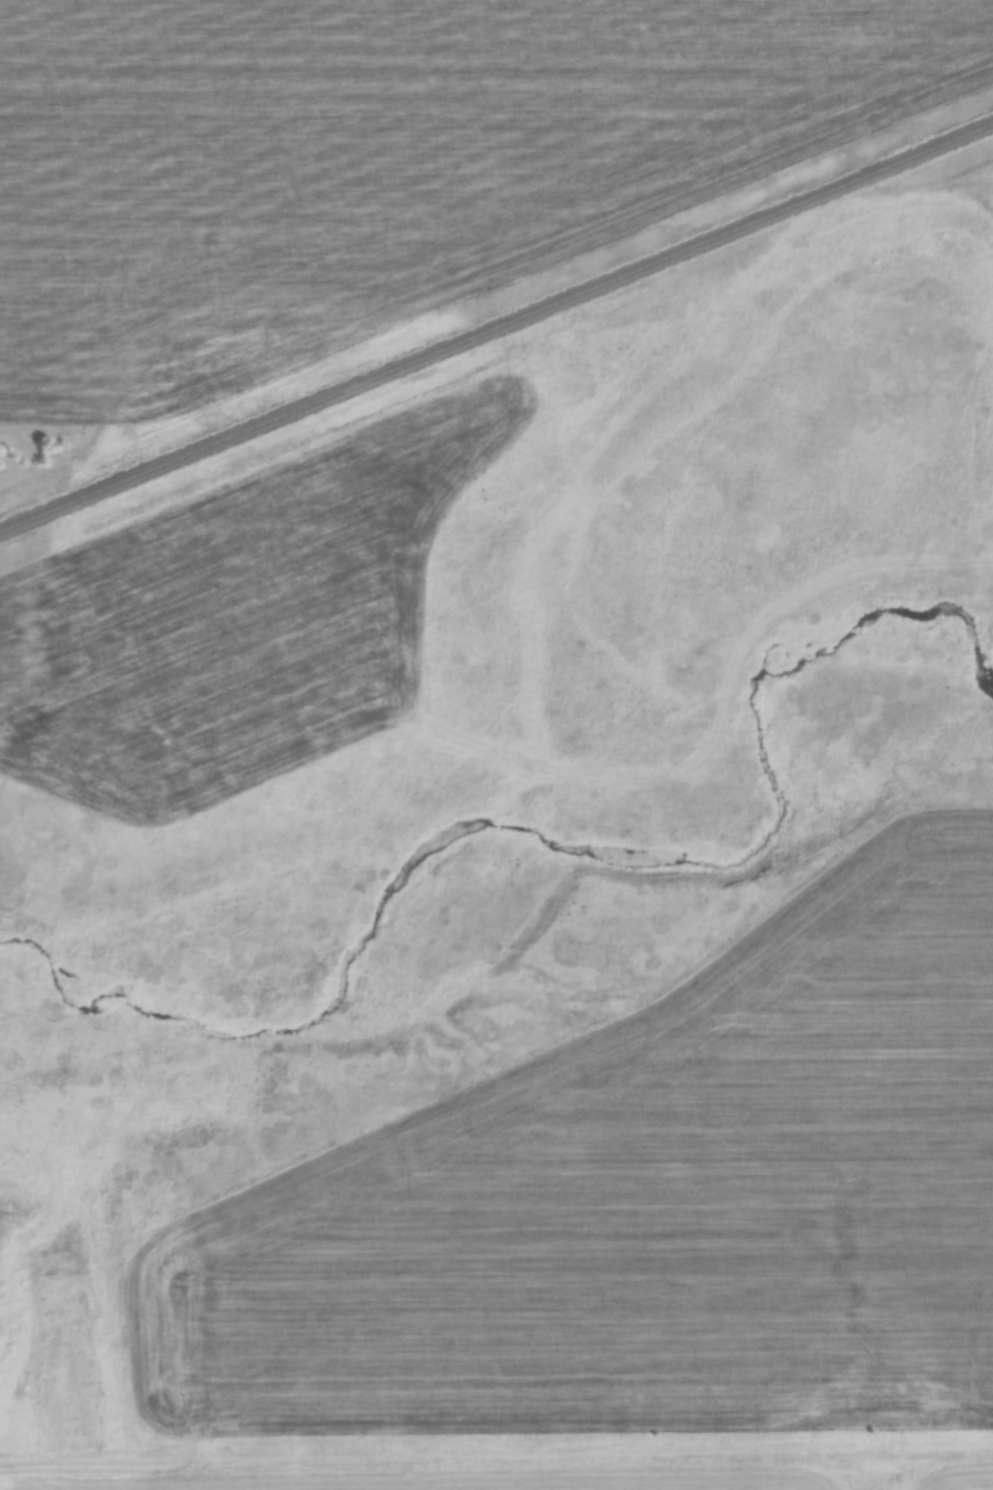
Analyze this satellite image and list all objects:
railway: (496, 334)

